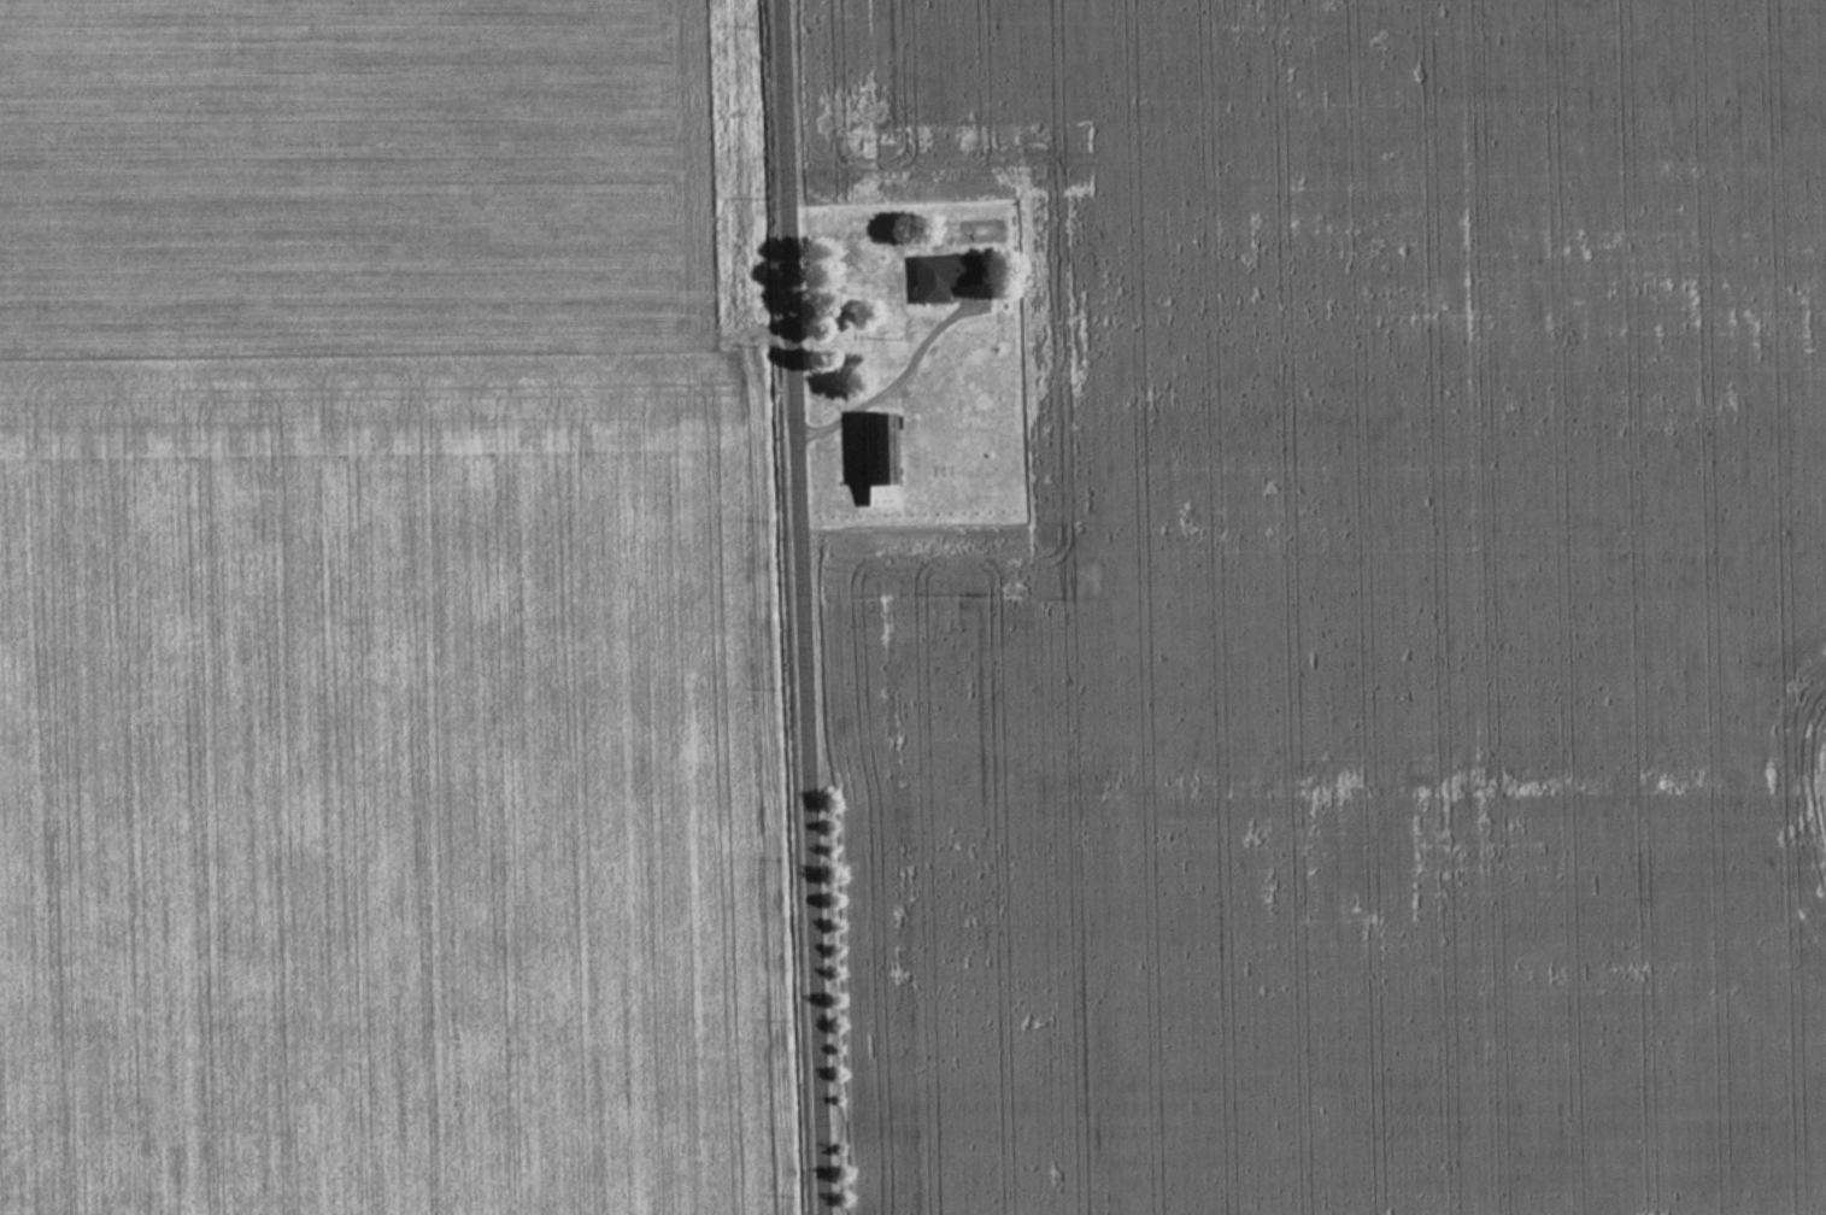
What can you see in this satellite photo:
crop: (351, 172)
building: (937, 275)
building: (874, 495)
road: (805, 607)
crop: (1351, 616)
crop: (378, 782)

